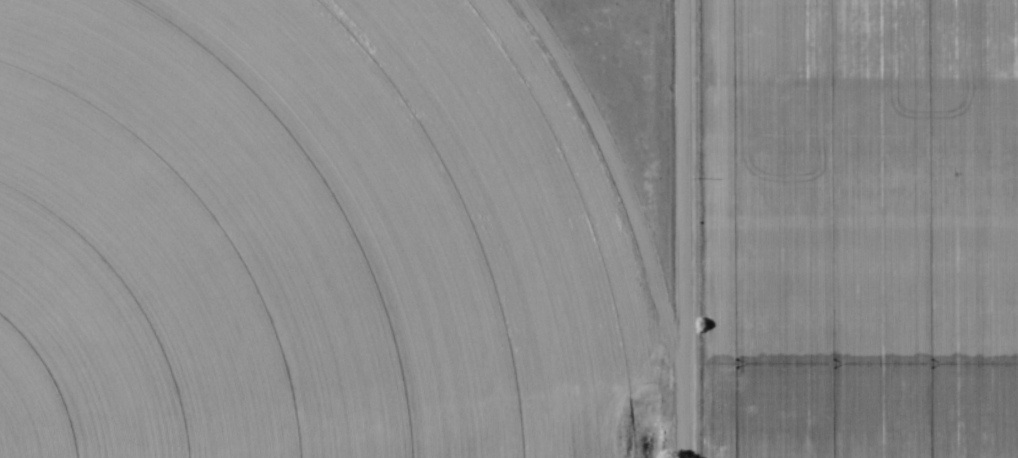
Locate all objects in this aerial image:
road: (683, 115)
road: (678, 344)

